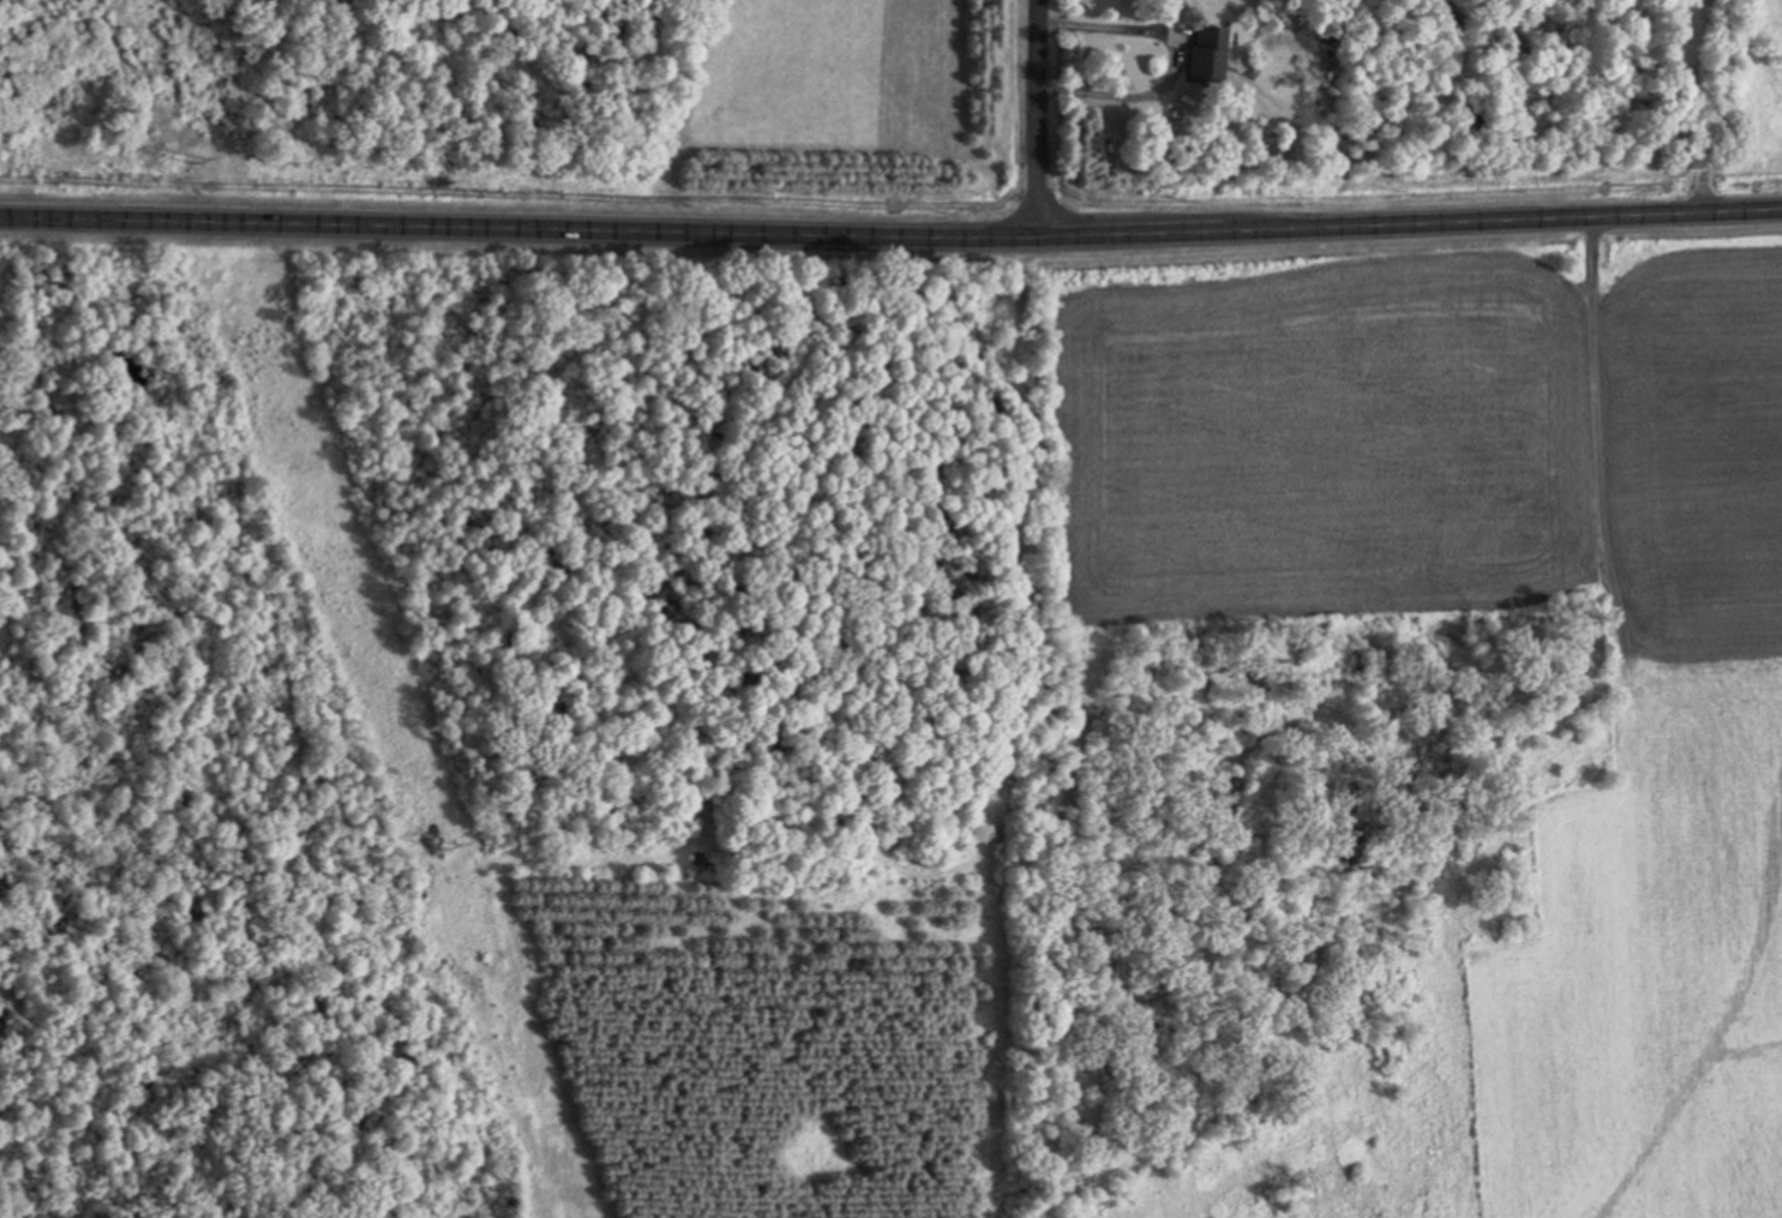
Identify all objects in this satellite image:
building: (1206, 55)
road: (1680, 104)
road: (1025, 116)
power tower: (198, 160)
road: (890, 228)
power tower: (451, 846)

